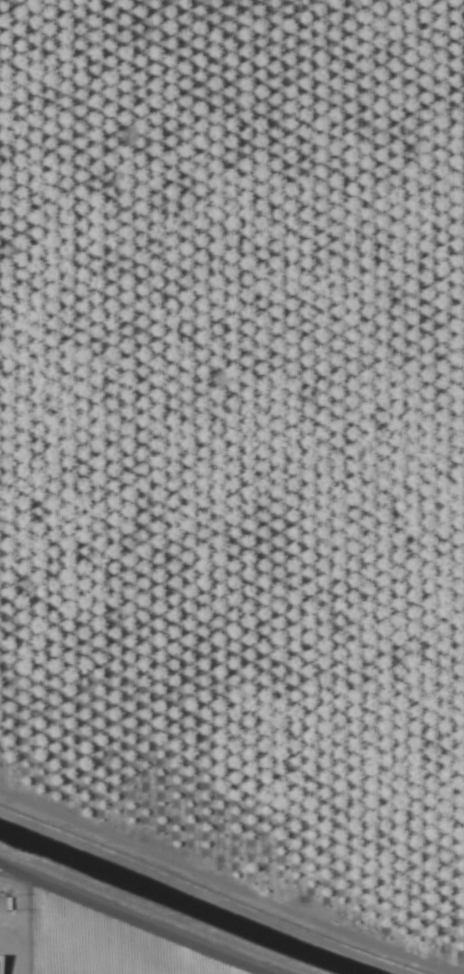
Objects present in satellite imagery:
crop: (232, 487)
building: (1, 905)
building: (0, 969)

